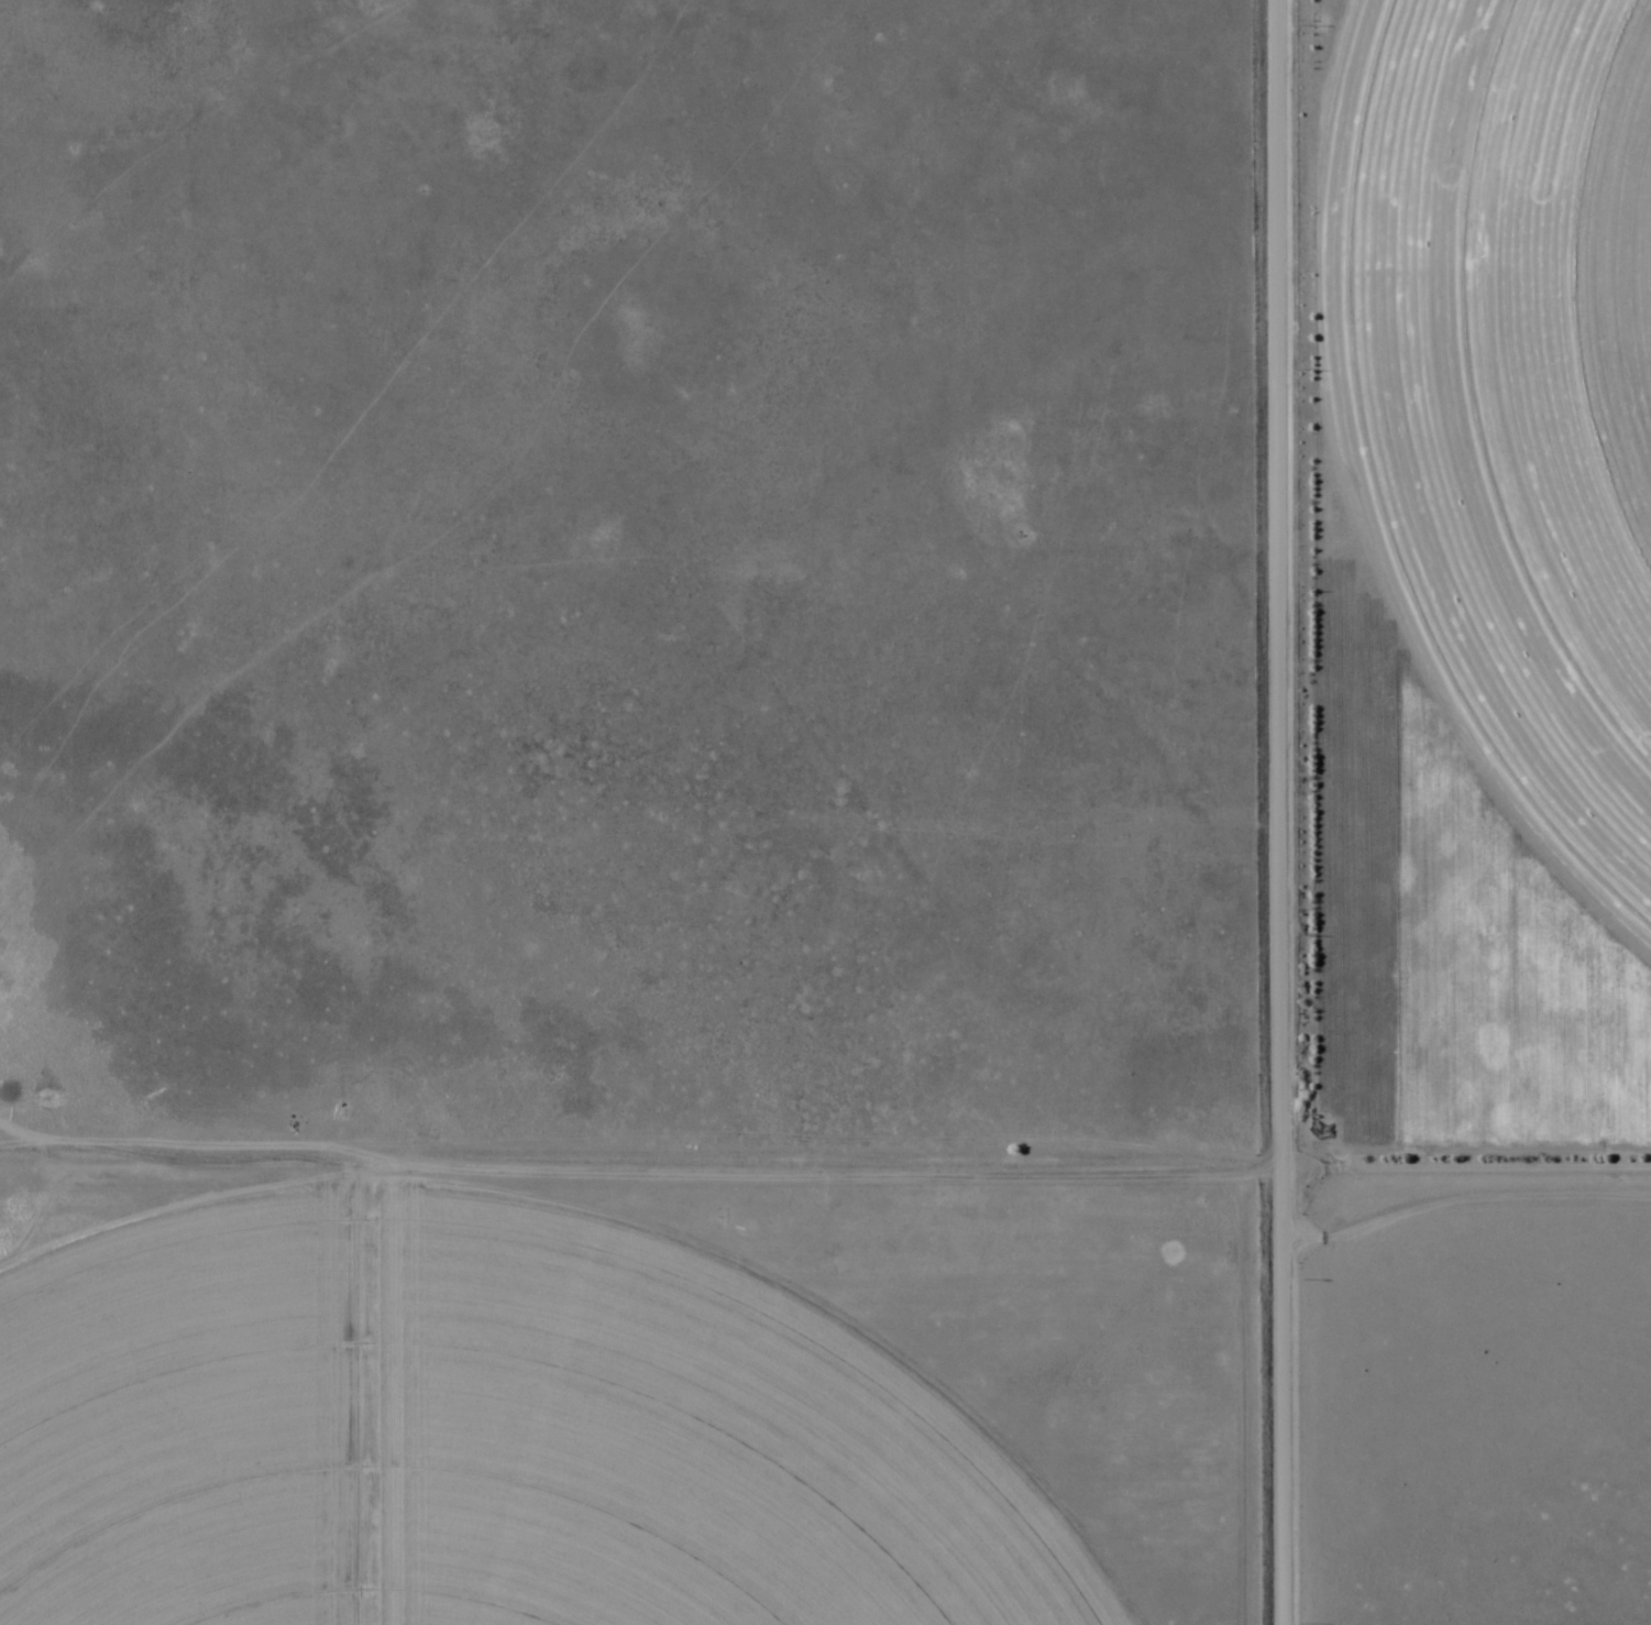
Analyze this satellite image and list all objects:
road: (1289, 812)

